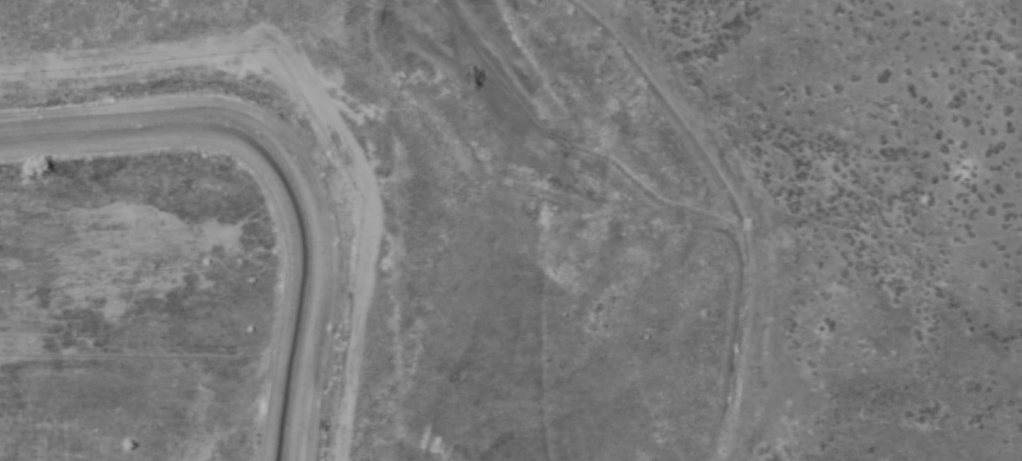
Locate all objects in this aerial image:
road: (264, 183)
crop: (511, 230)

